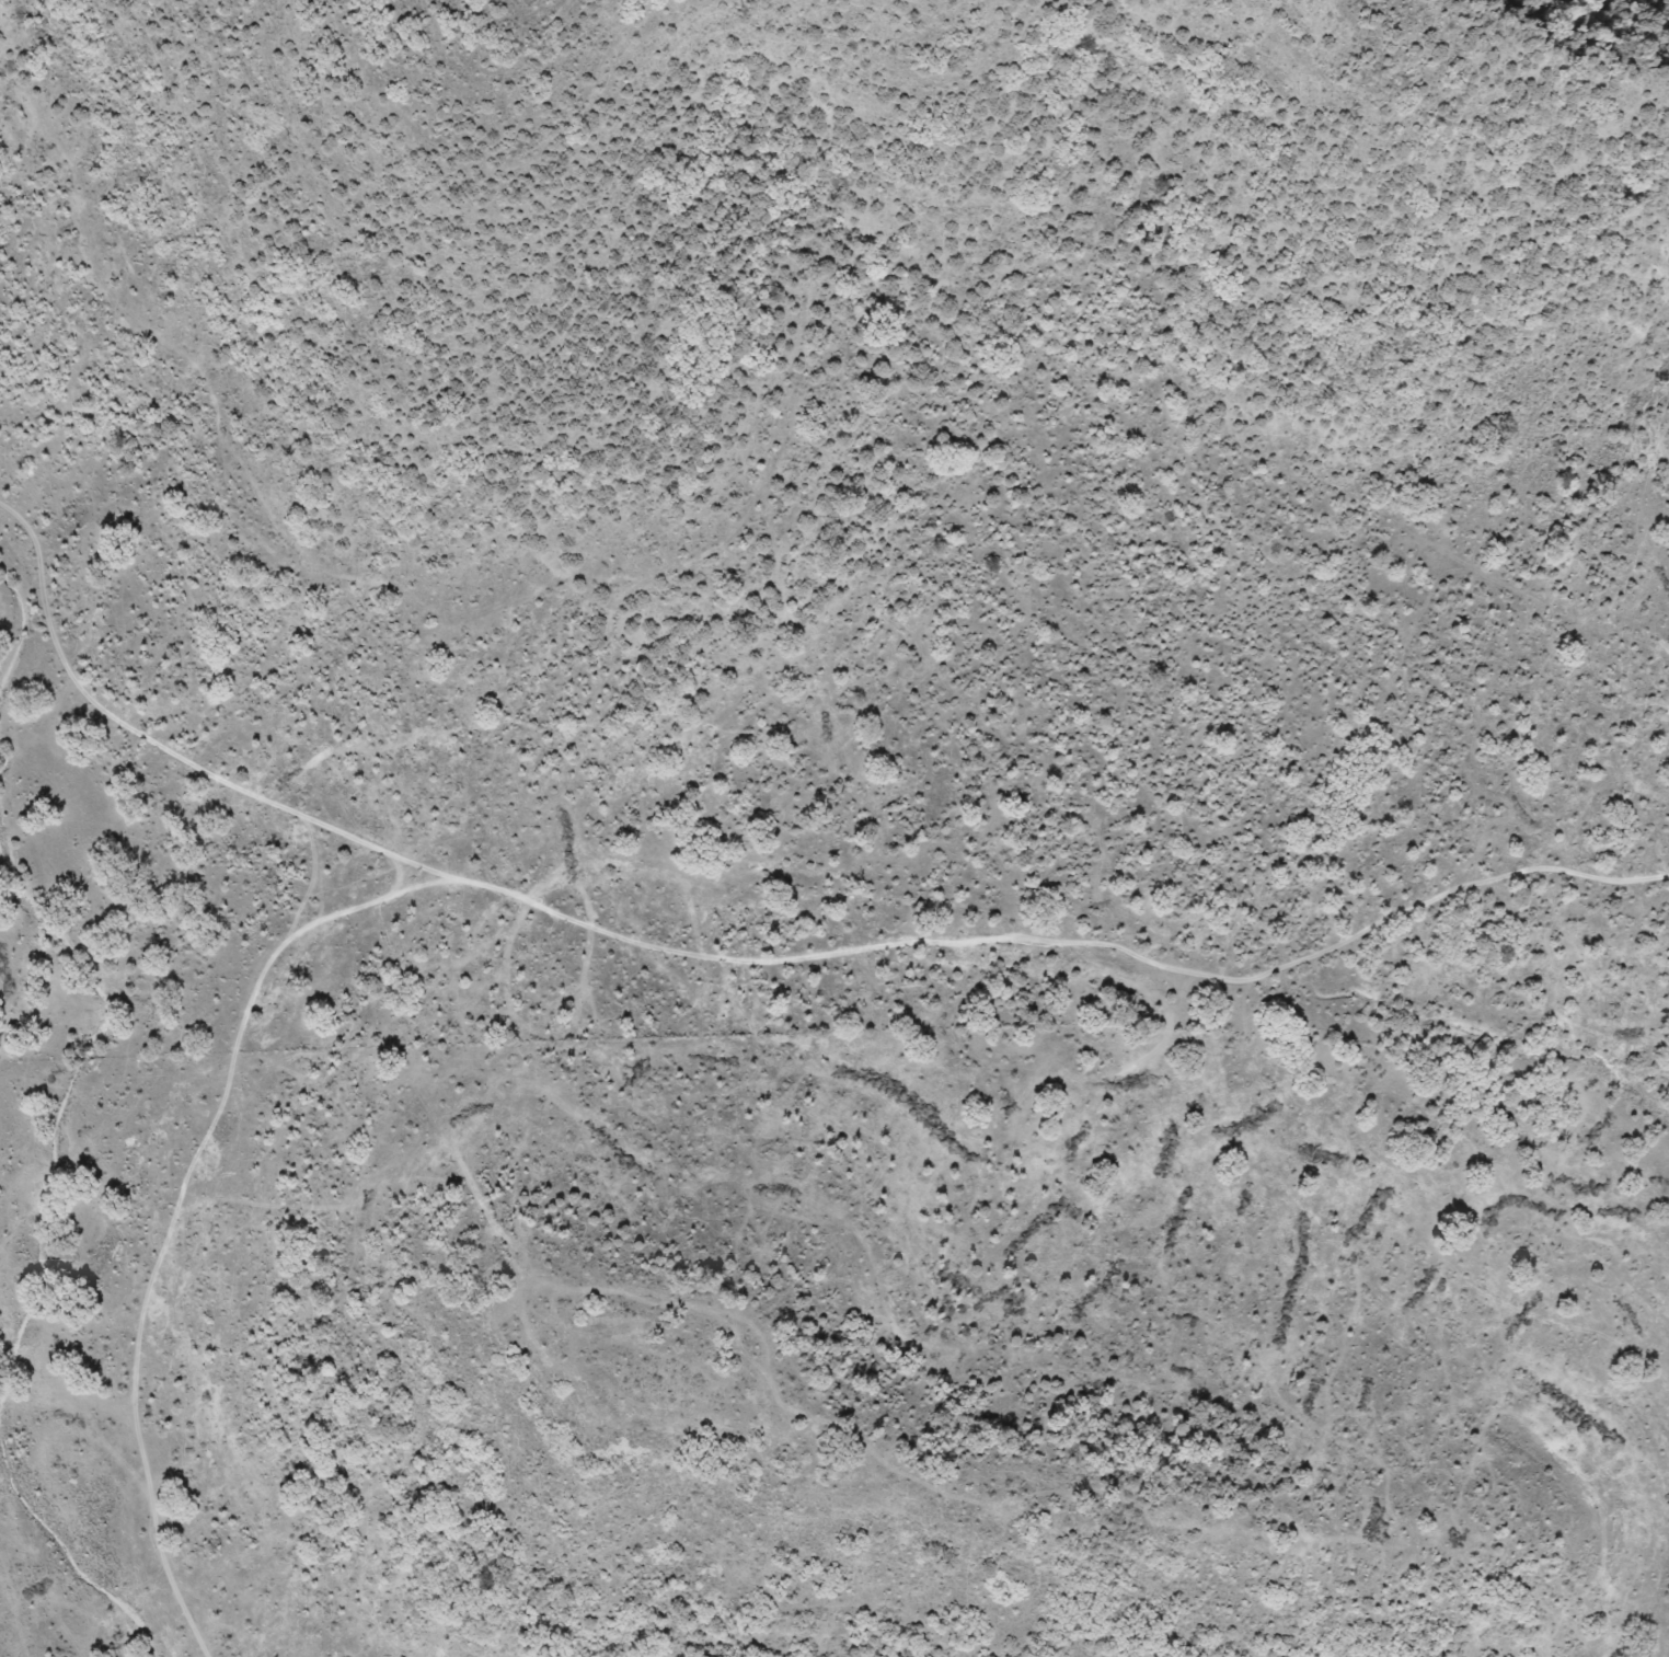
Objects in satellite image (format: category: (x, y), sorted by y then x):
road: (611, 930)

